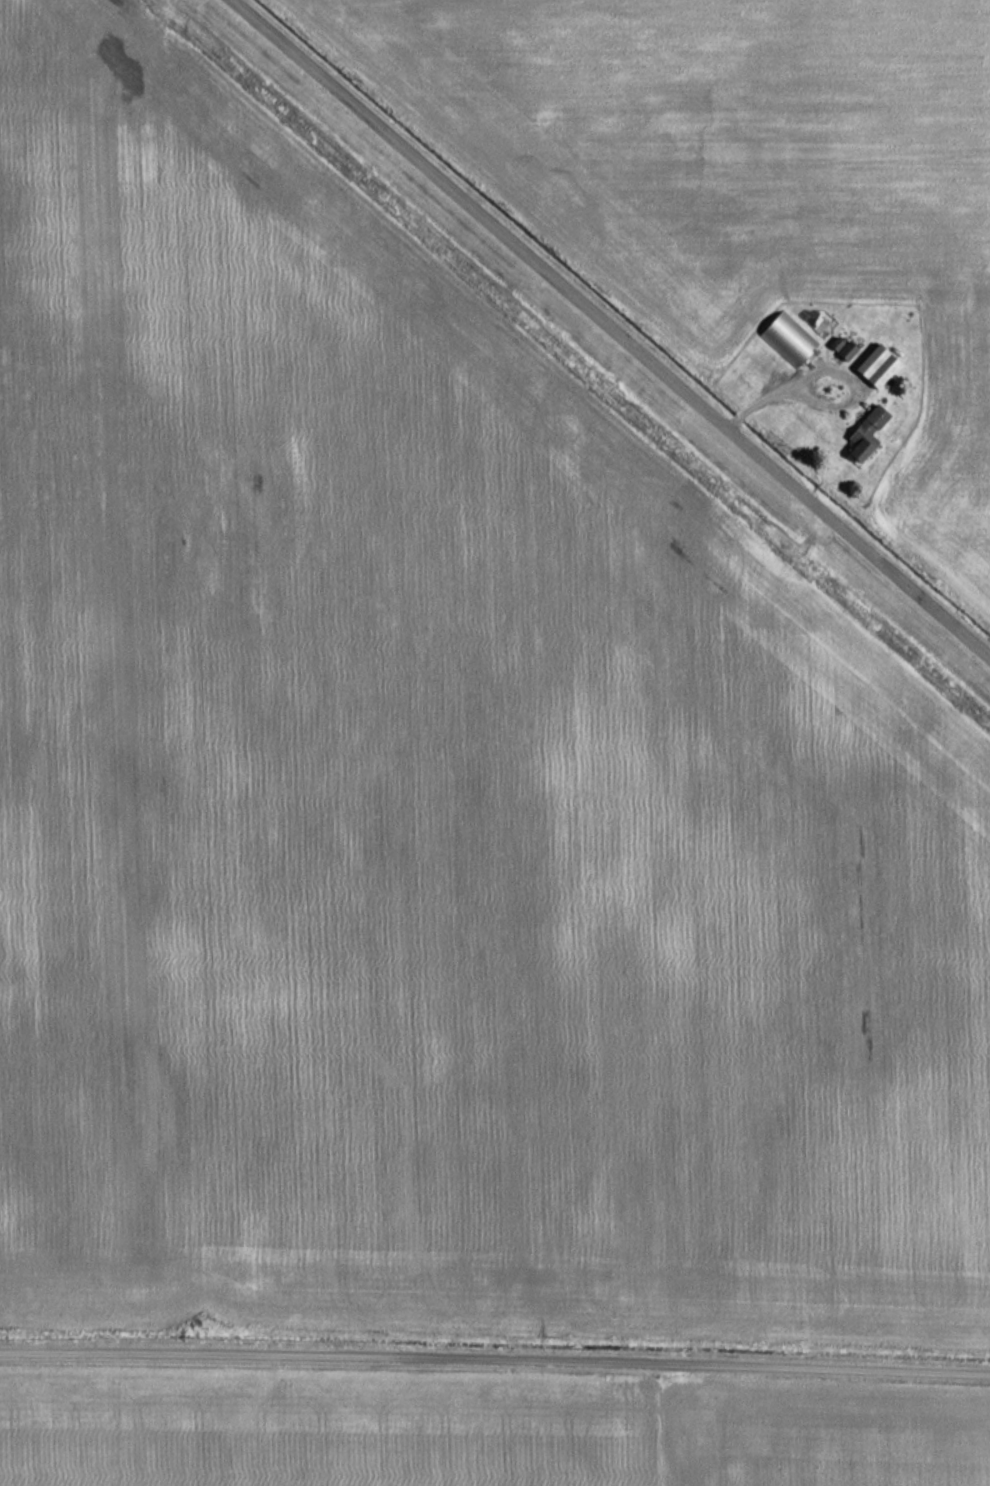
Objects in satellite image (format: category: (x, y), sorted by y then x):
crop: (744, 180)
road: (612, 327)
building: (785, 340)
railway: (569, 364)
building: (875, 365)
road: (829, 370)
building: (874, 416)
crop: (430, 795)
road: (495, 1357)
crop: (320, 1431)
crop: (819, 1436)

